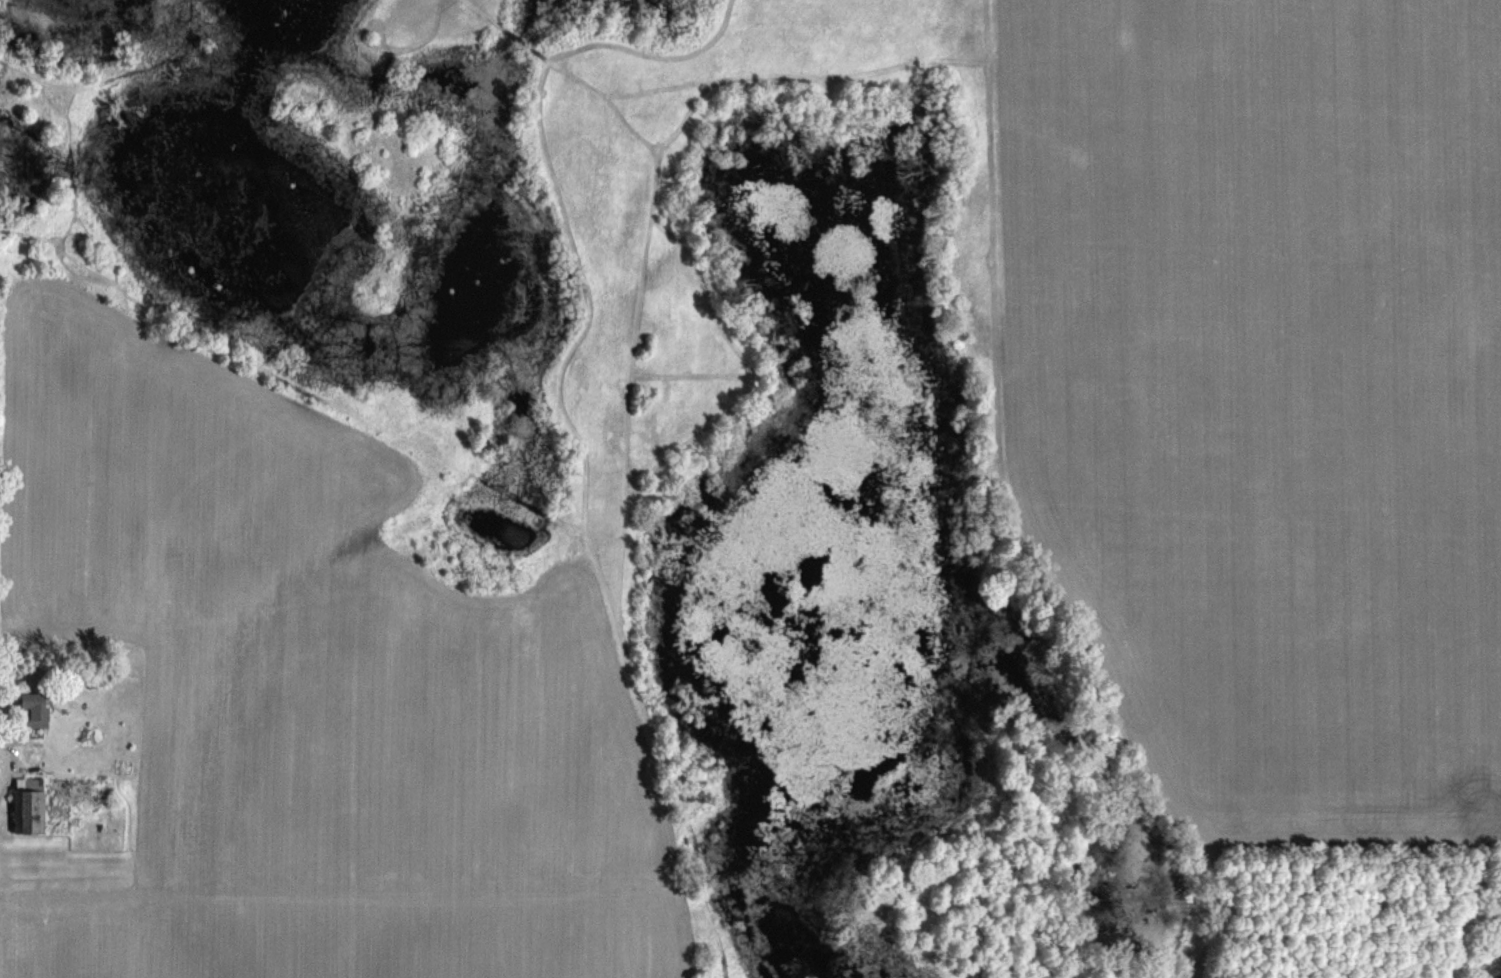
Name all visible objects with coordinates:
crop: (1269, 390)
crop: (311, 636)
building: (38, 707)
building: (32, 805)
crop: (346, 929)

